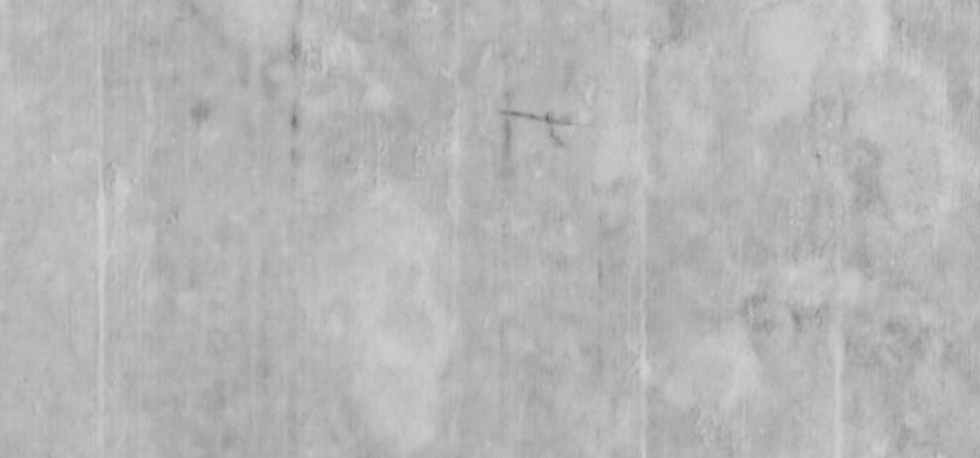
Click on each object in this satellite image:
power tower: (560, 123)

